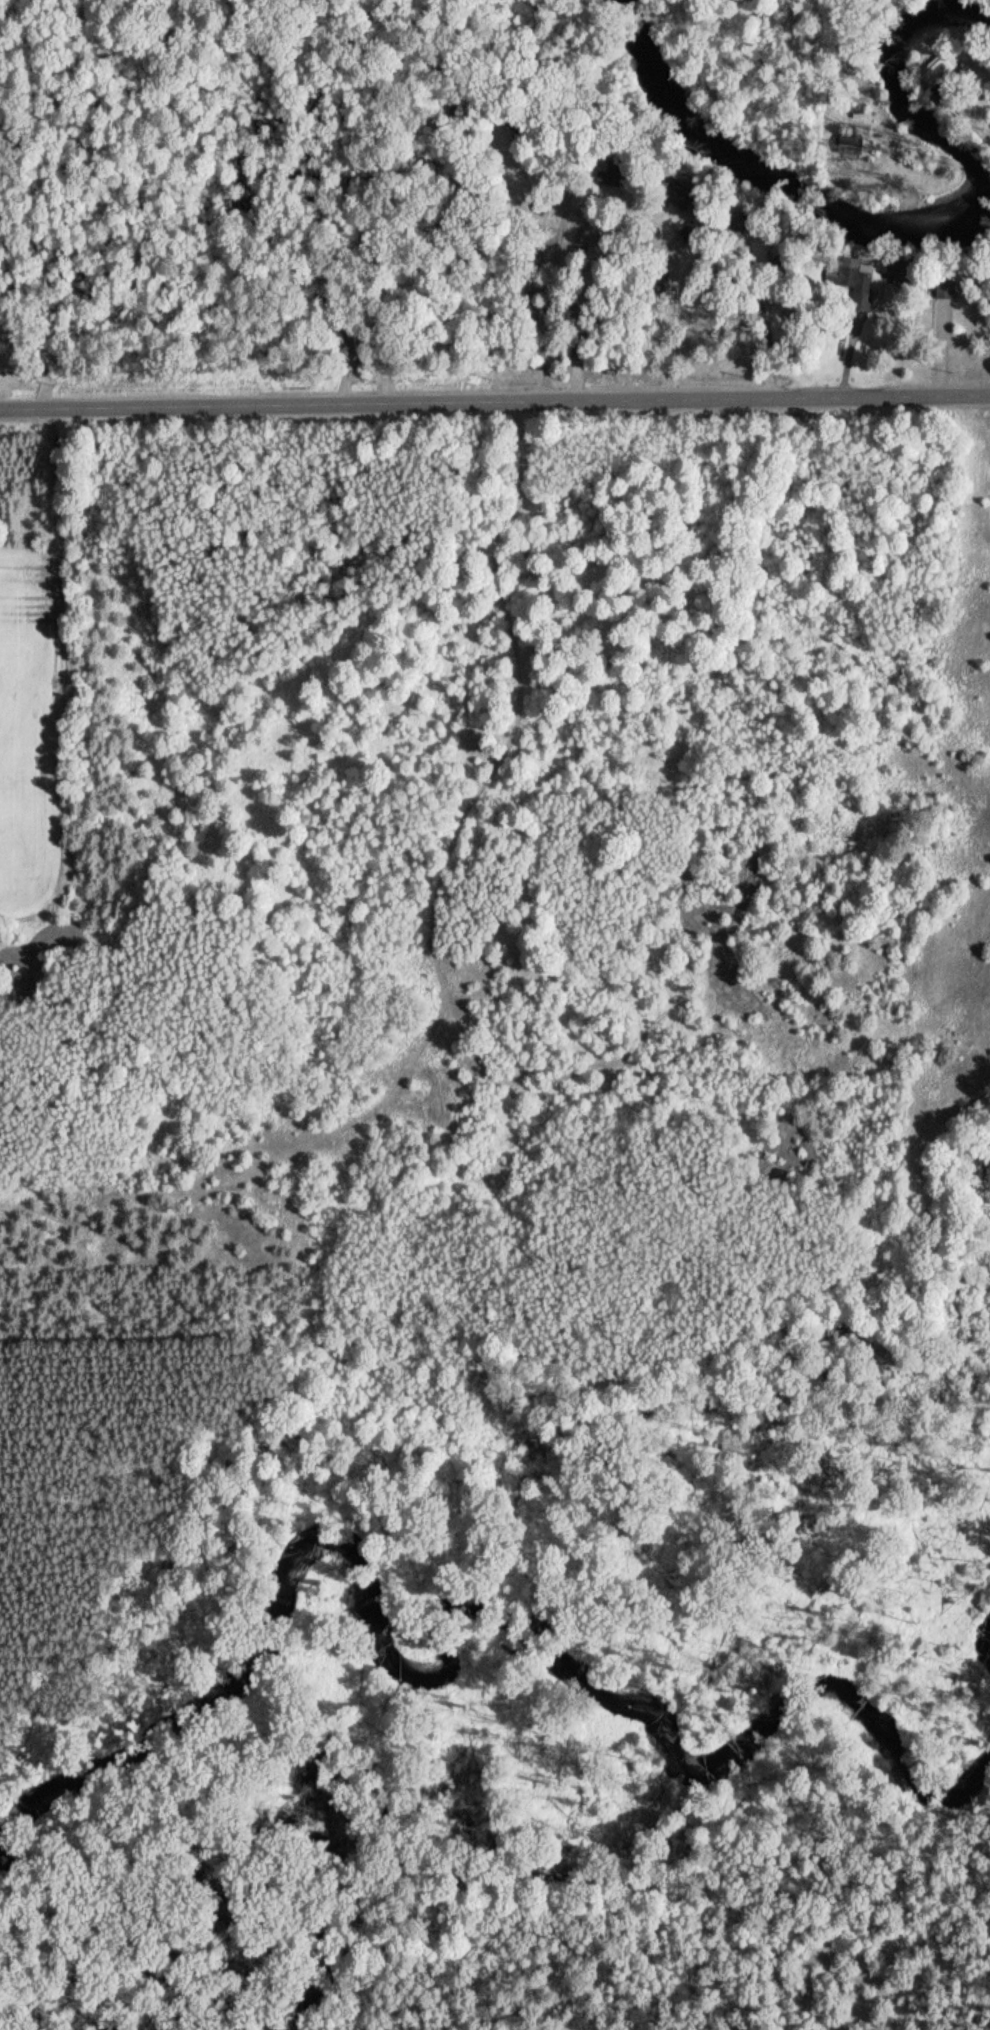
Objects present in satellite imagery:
road: (817, 8)
building: (936, 70)
road: (973, 127)
building: (613, 173)
building: (681, 194)
road: (38, 203)
building: (542, 204)
building: (738, 223)
river: (881, 224)
building: (690, 231)
building: (660, 268)
building: (905, 272)
building: (851, 280)
building: (945, 289)
building: (354, 352)
road: (494, 402)
river: (449, 1632)

